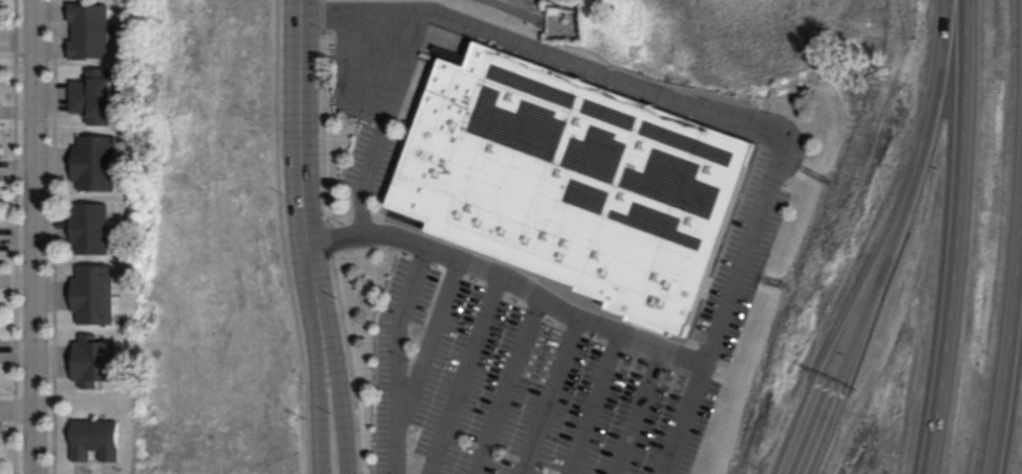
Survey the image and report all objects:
building: (91, 31)
building: (96, 97)
road: (715, 115)
road: (384, 126)
road: (303, 146)
building: (97, 164)
building: (577, 185)
road: (915, 196)
building: (93, 228)
road: (36, 236)
road: (283, 237)
road: (329, 237)
road: (961, 237)
road: (511, 284)
building: (95, 294)
road: (432, 339)
road: (398, 359)
building: (96, 361)
road: (1011, 366)
parking lot: (556, 369)
road: (466, 376)
road: (337, 382)
road: (317, 383)
road: (508, 387)
road: (552, 397)
road: (596, 405)
road: (639, 413)
road: (818, 427)
building: (97, 440)

